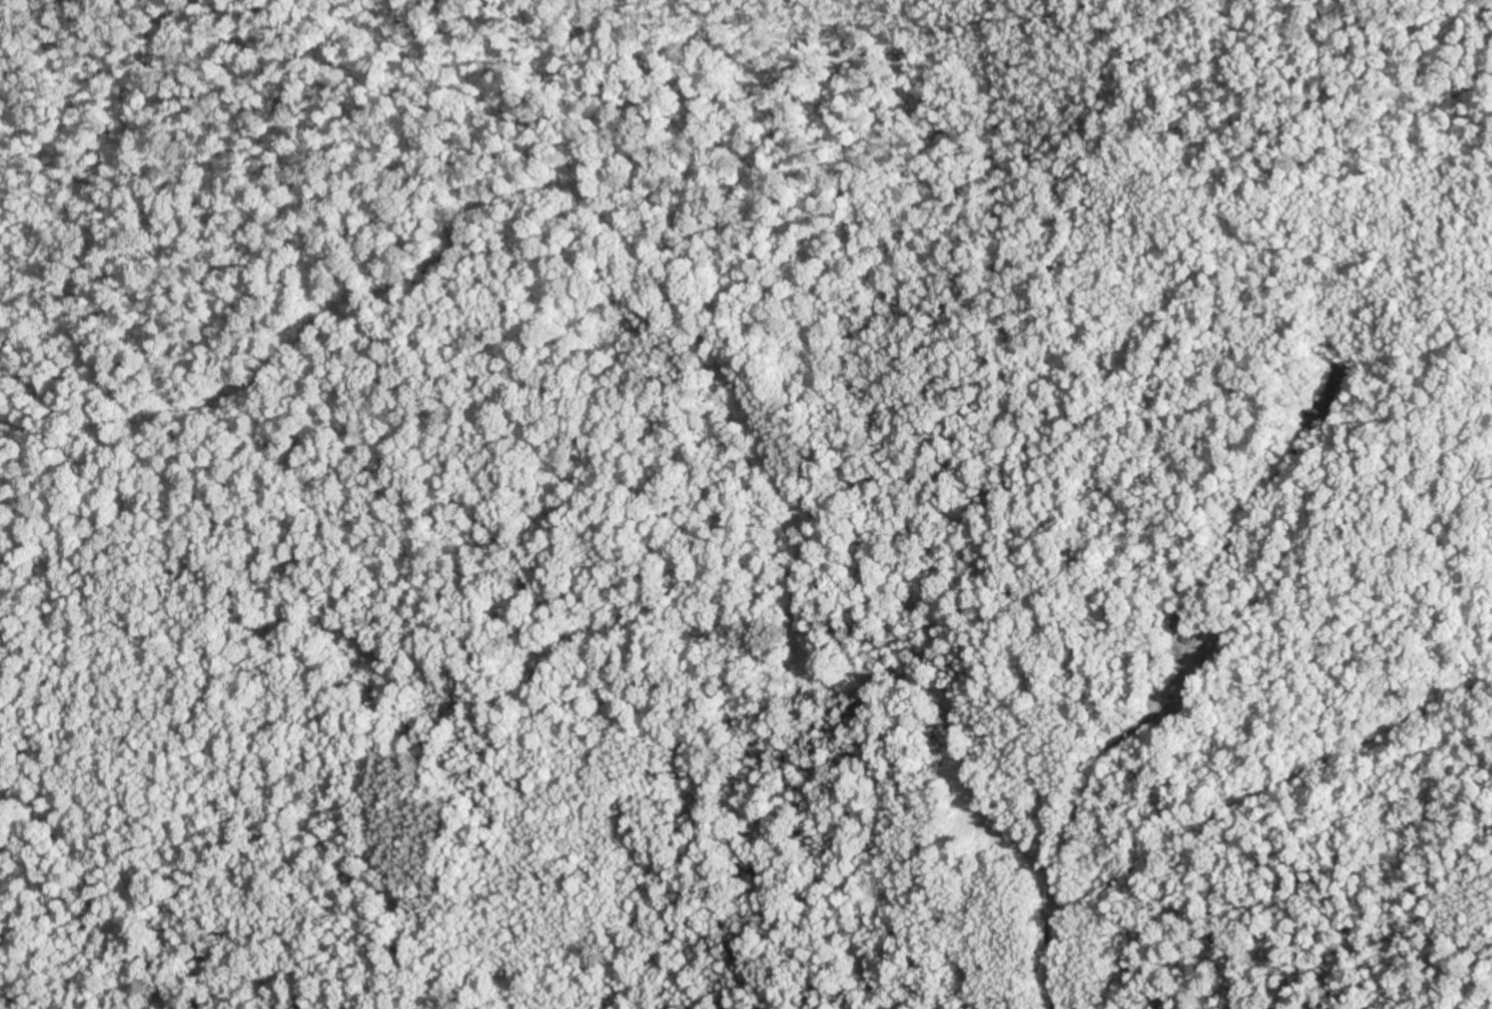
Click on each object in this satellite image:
building: (1212, 655)

